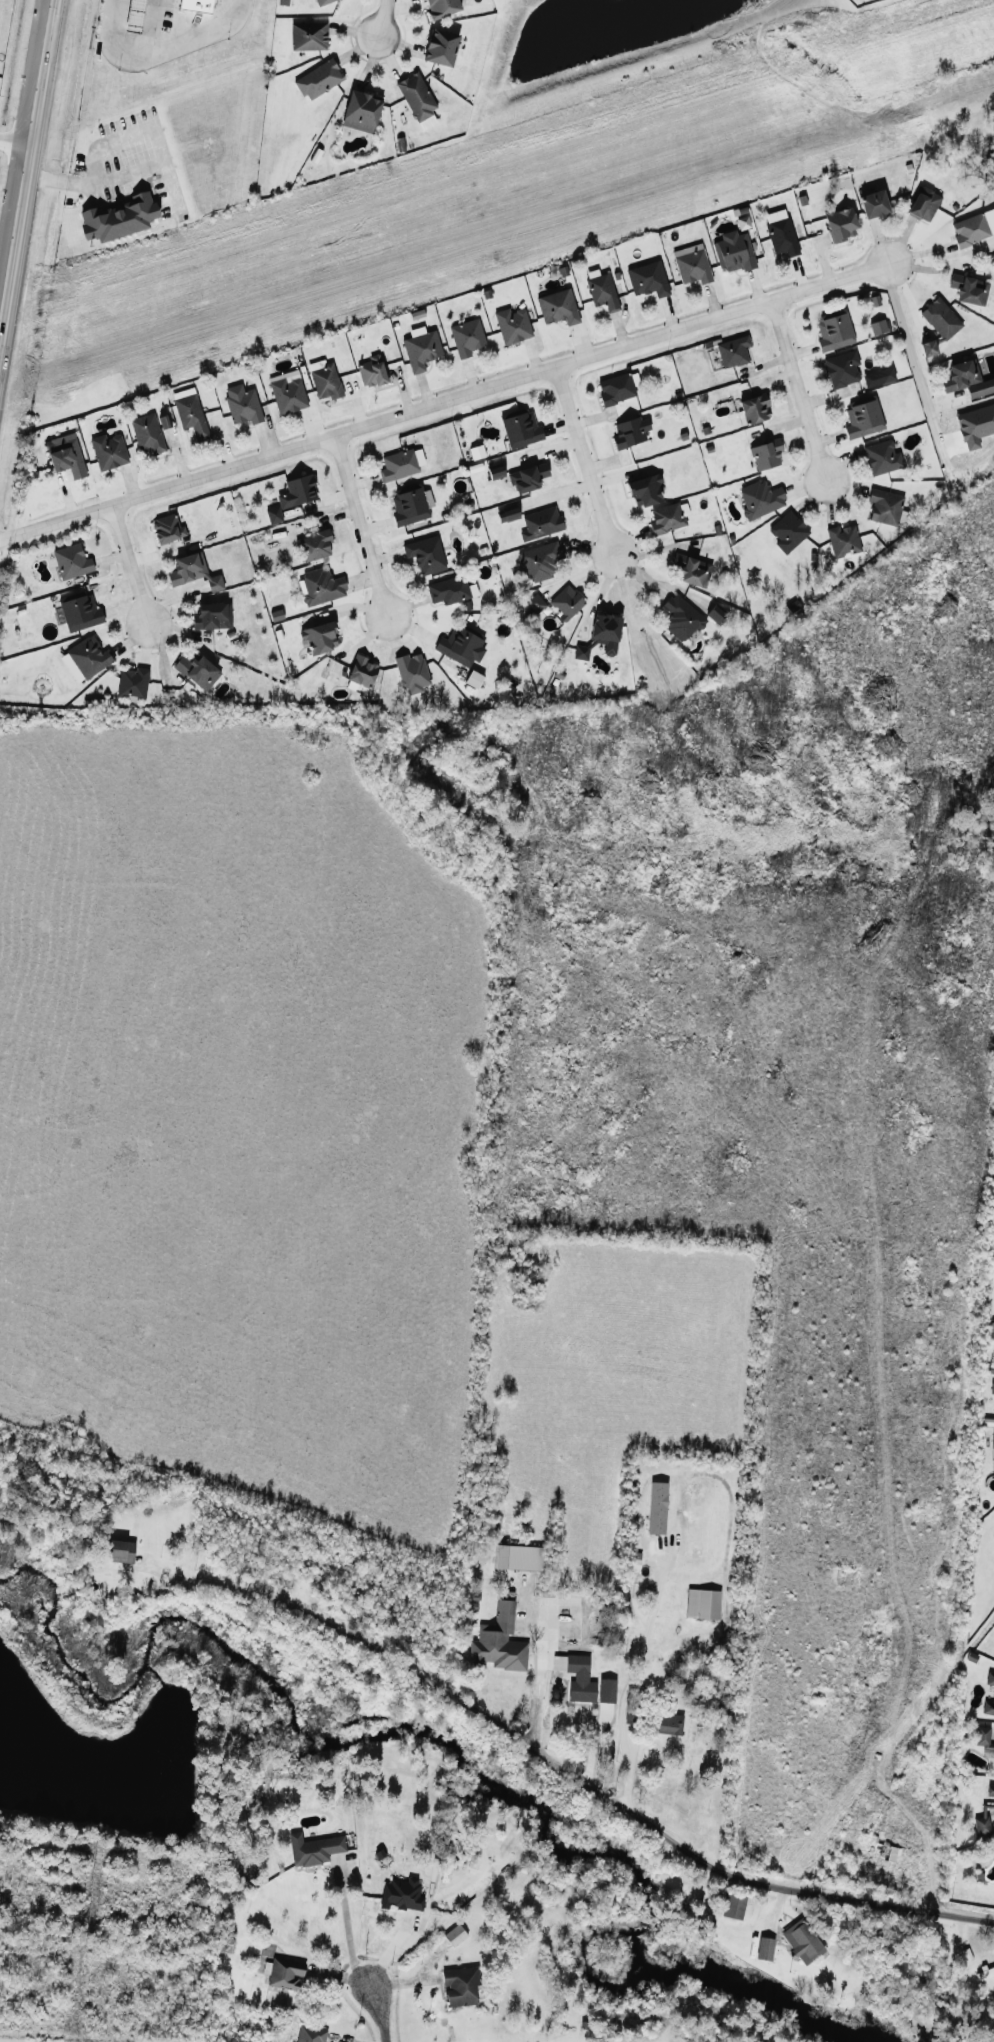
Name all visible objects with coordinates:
building: (283, 2)
building: (321, 2)
building: (440, 7)
building: (197, 9)
building: (135, 18)
road: (378, 19)
road: (199, 34)
building: (308, 36)
building: (440, 47)
road: (129, 60)
building: (318, 79)
building: (416, 96)
building: (360, 111)
road: (17, 142)
road: (28, 178)
road: (71, 186)
building: (873, 204)
building: (923, 204)
building: (116, 219)
building: (742, 223)
building: (839, 224)
building: (973, 228)
building: (780, 232)
building: (733, 251)
building: (691, 264)
building: (647, 279)
building: (969, 289)
building: (602, 291)
building: (557, 307)
building: (939, 317)
building: (512, 325)
building: (877, 327)
building: (834, 330)
building: (466, 337)
building: (927, 348)
building: (421, 350)
building: (732, 351)
road: (919, 365)
building: (841, 368)
building: (371, 371)
building: (878, 376)
building: (324, 379)
building: (966, 379)
road: (500, 382)
road: (800, 387)
building: (615, 389)
building: (287, 392)
building: (242, 404)
building: (754, 408)
building: (190, 416)
building: (862, 417)
building: (520, 429)
building: (630, 432)
building: (147, 434)
building: (108, 451)
building: (765, 454)
building: (65, 455)
building: (881, 457)
road: (588, 460)
building: (400, 464)
building: (527, 477)
building: (644, 490)
building: (297, 491)
building: (760, 498)
building: (408, 506)
building: (273, 514)
building: (503, 515)
building: (666, 519)
road: (57, 520)
building: (540, 523)
road: (359, 525)
building: (166, 528)
building: (787, 532)
building: (842, 540)
building: (315, 545)
building: (425, 554)
building: (540, 560)
building: (71, 561)
road: (132, 564)
building: (692, 570)
building: (191, 571)
building: (321, 586)
building: (450, 590)
building: (565, 602)
building: (534, 603)
building: (79, 611)
building: (715, 613)
building: (211, 616)
building: (680, 618)
building: (605, 632)
building: (319, 637)
building: (461, 645)
building: (580, 652)
building: (84, 658)
building: (197, 671)
building: (361, 671)
building: (411, 672)
building: (473, 679)
building: (132, 683)
building: (991, 1388)
building: (992, 1439)
building: (656, 1507)
building: (120, 1551)
building: (517, 1557)
building: (702, 1603)
building: (498, 1642)
road: (629, 1678)
building: (580, 1679)
building: (989, 1679)
building: (606, 1690)
road: (537, 1695)
building: (988, 1707)
building: (628, 1712)
building: (668, 1724)
building: (983, 1738)
road: (562, 1770)
building: (990, 1790)
building: (979, 1828)
building: (313, 1849)
road: (927, 1851)
building: (884, 1852)
building: (401, 1894)
building: (733, 1905)
road: (348, 1930)
building: (454, 1935)
building: (802, 1941)
building: (764, 1948)
building: (984, 1972)
building: (283, 1973)
building: (459, 1985)
road: (378, 2014)
building: (309, 2034)

